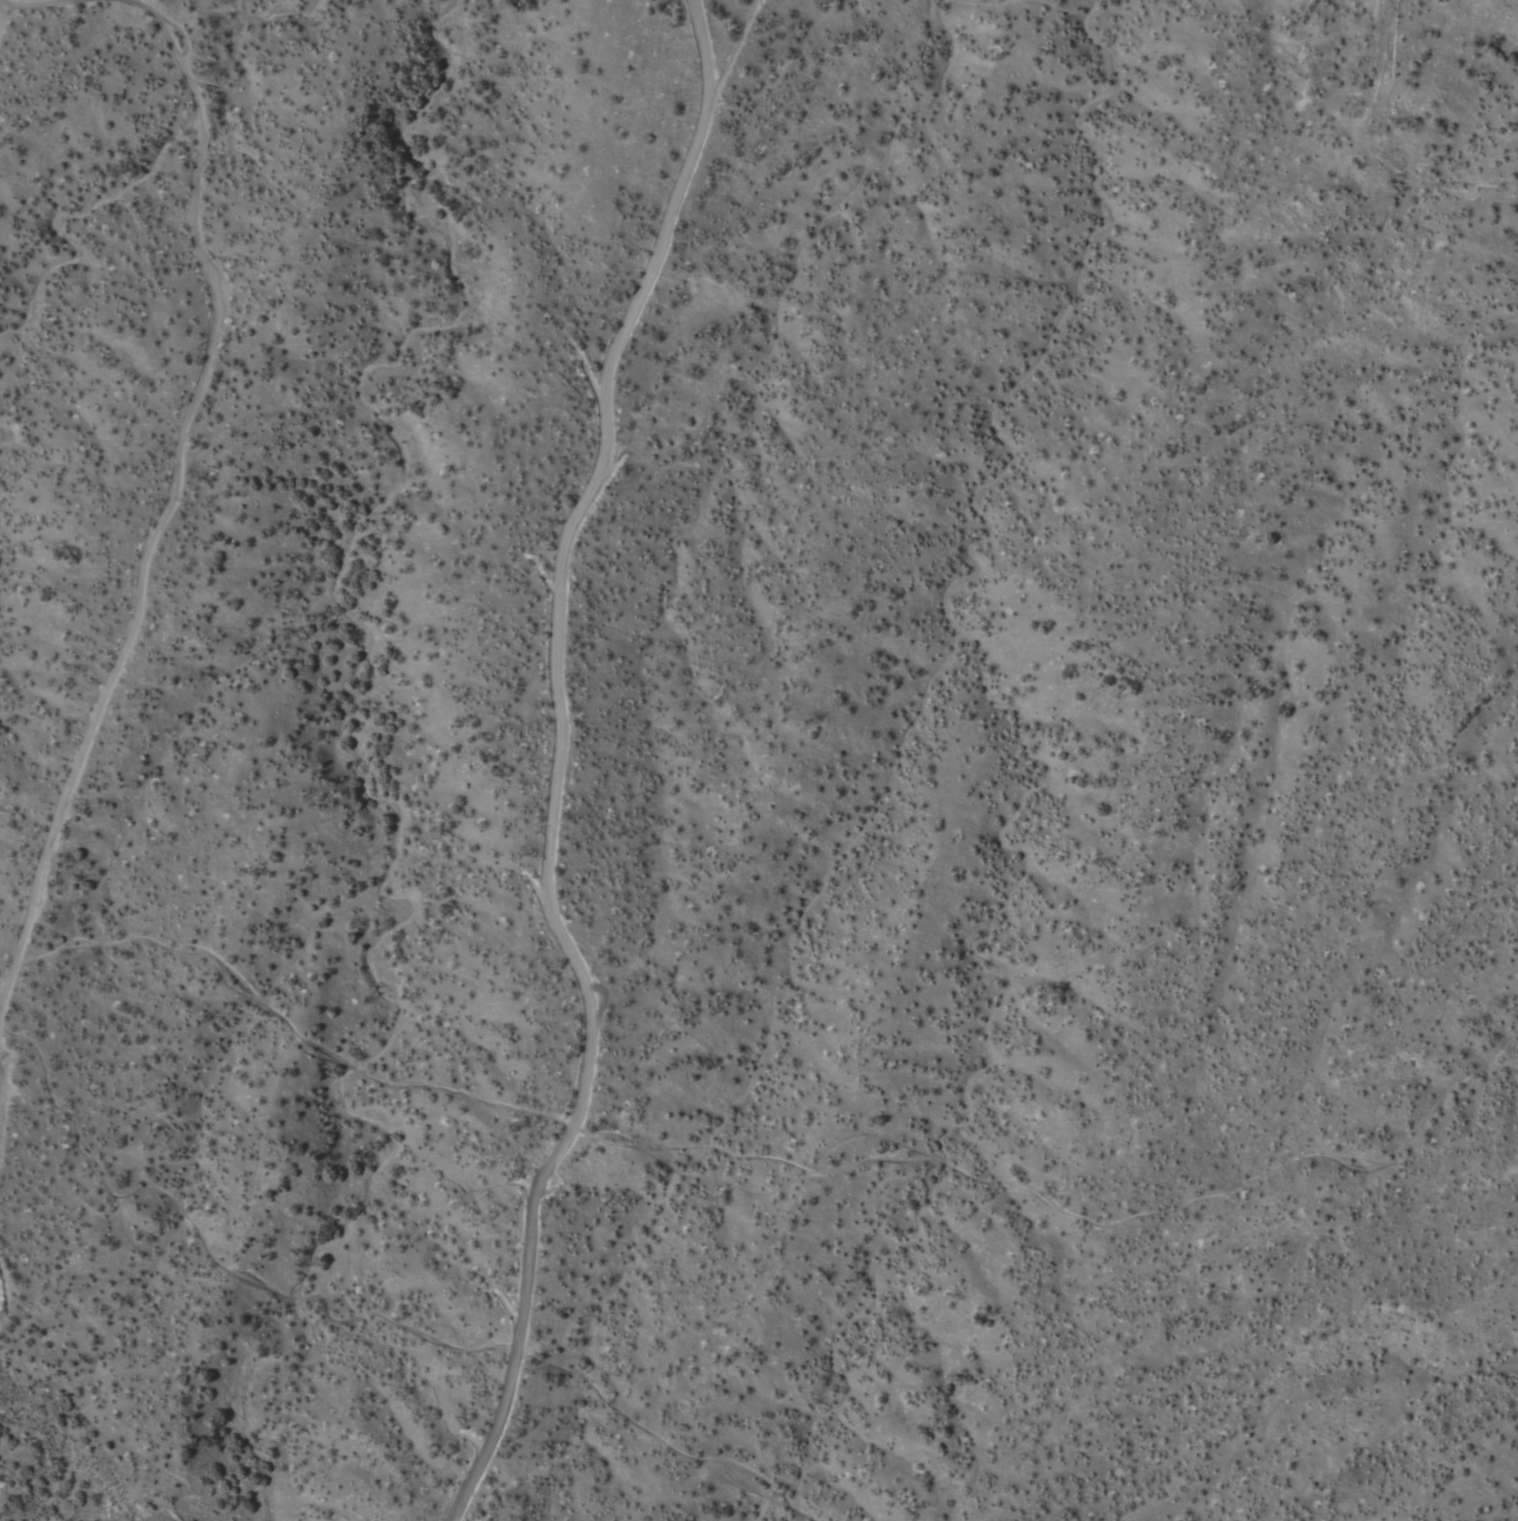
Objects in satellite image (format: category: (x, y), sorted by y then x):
road: (27, 4)
road: (1, 6)
road: (169, 513)
road: (557, 763)
road: (4, 1092)
road: (7, 1295)

